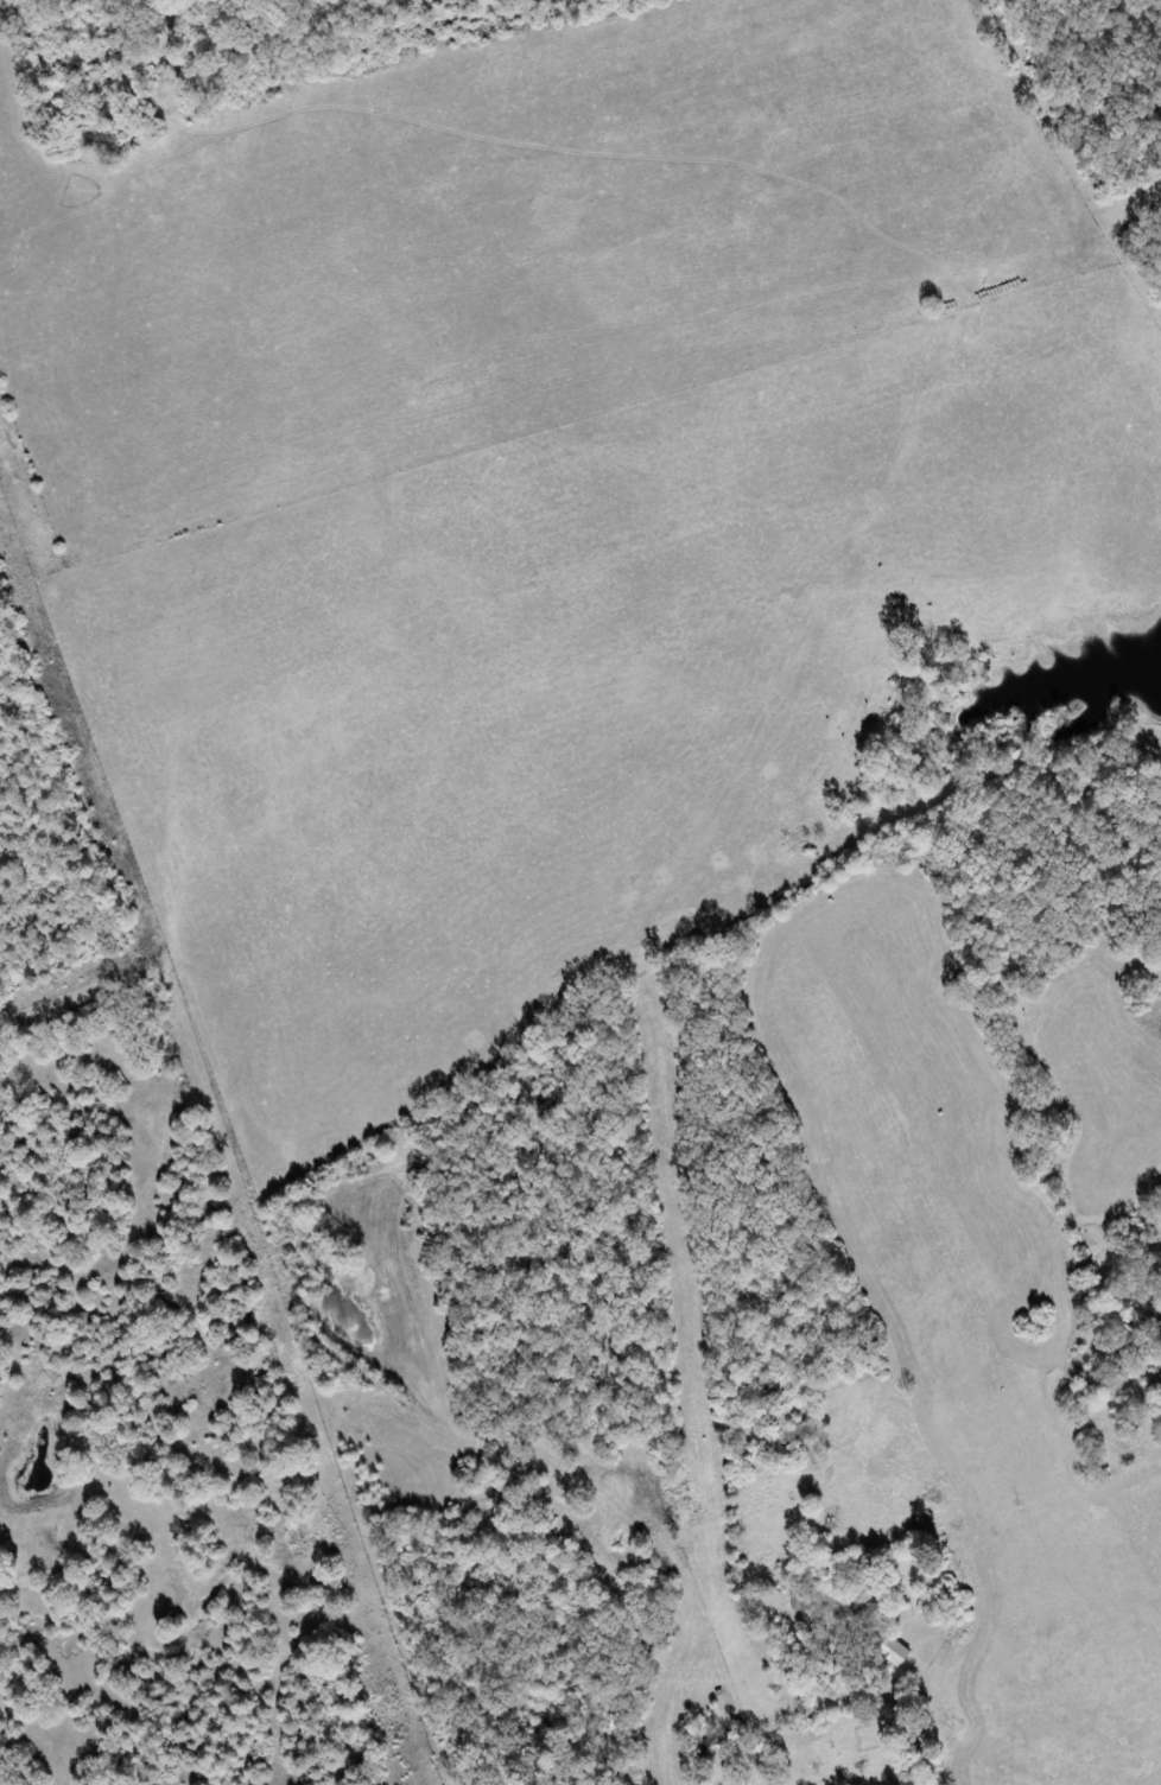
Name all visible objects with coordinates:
building: (889, 1645)
road: (914, 1723)

